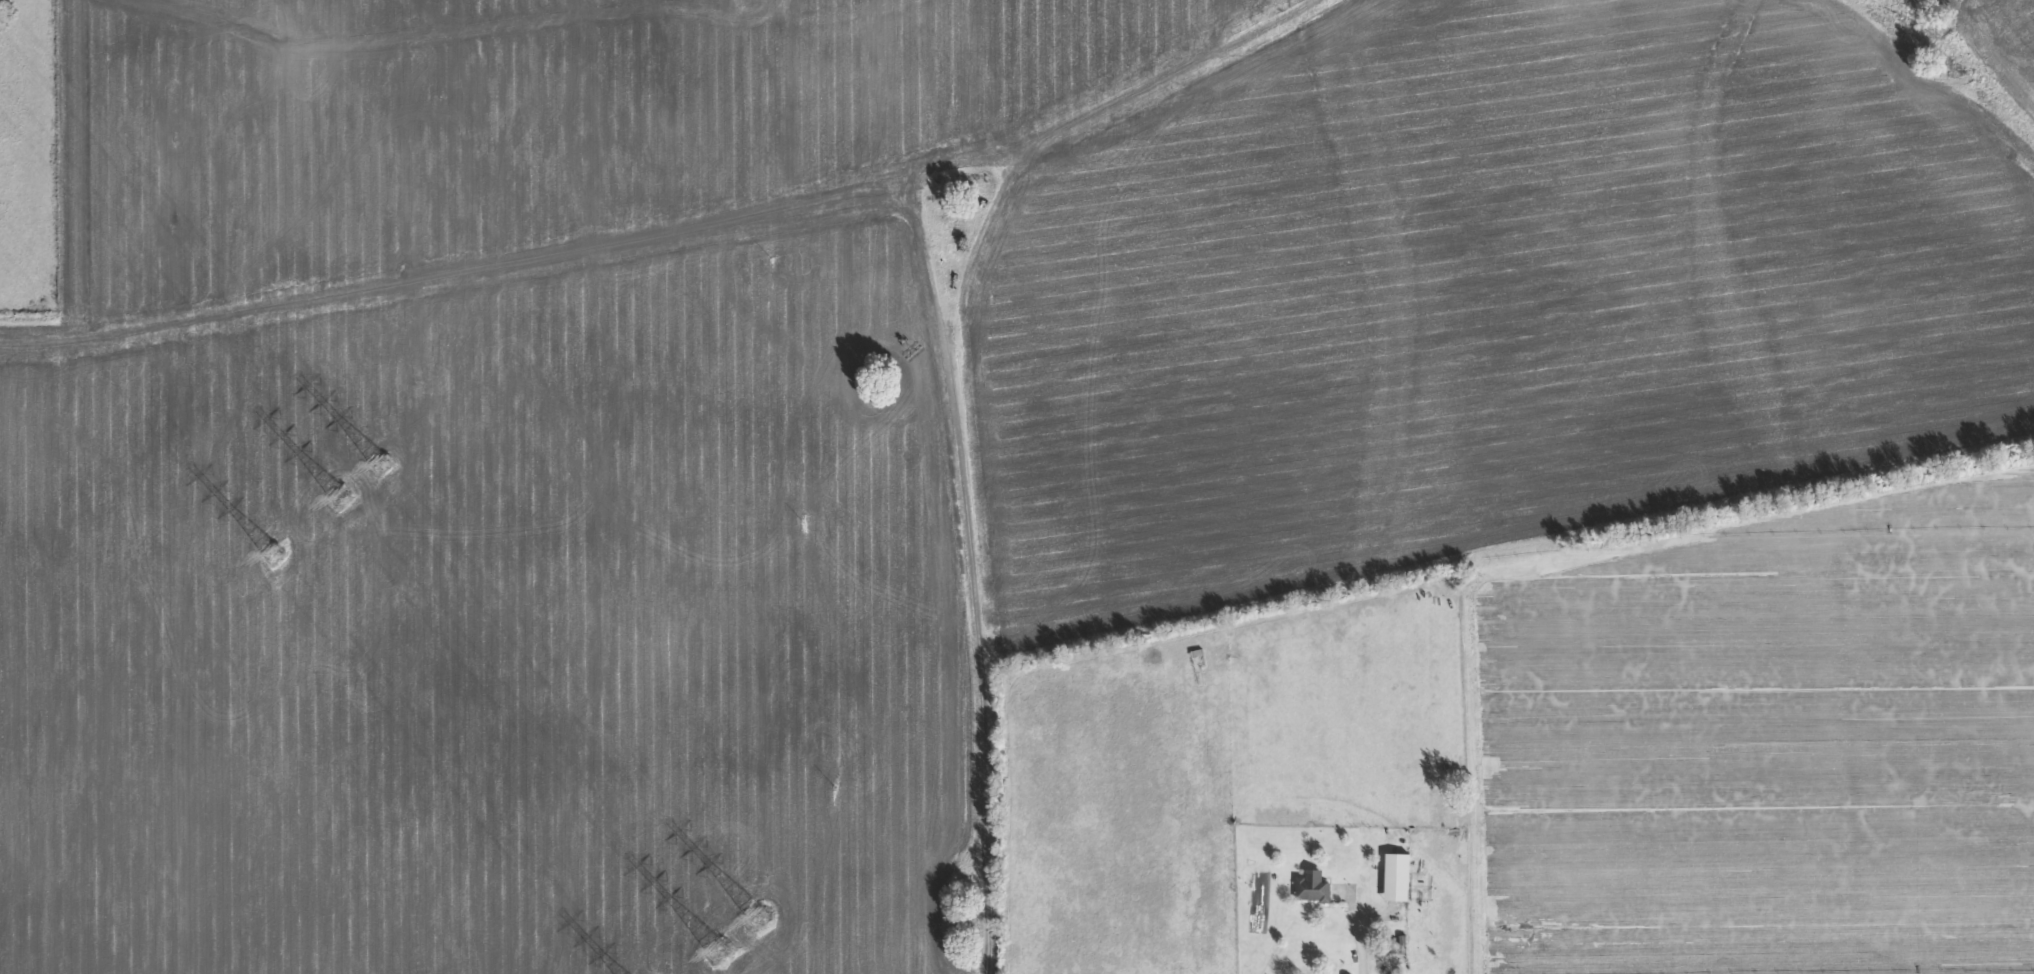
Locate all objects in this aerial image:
power tower: (9, 9)
power tower: (385, 462)
power tower: (345, 501)
power tower: (279, 555)
building: (1400, 878)
building: (1316, 885)
power tower: (761, 919)
power tower: (721, 954)

